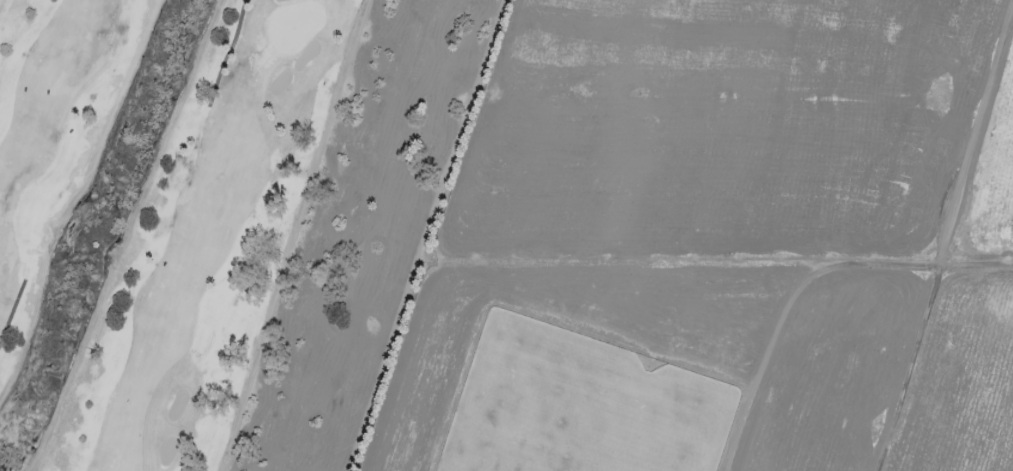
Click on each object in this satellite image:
road: (227, 53)
park: (215, 221)
river: (93, 227)
road: (291, 235)
road: (12, 310)

